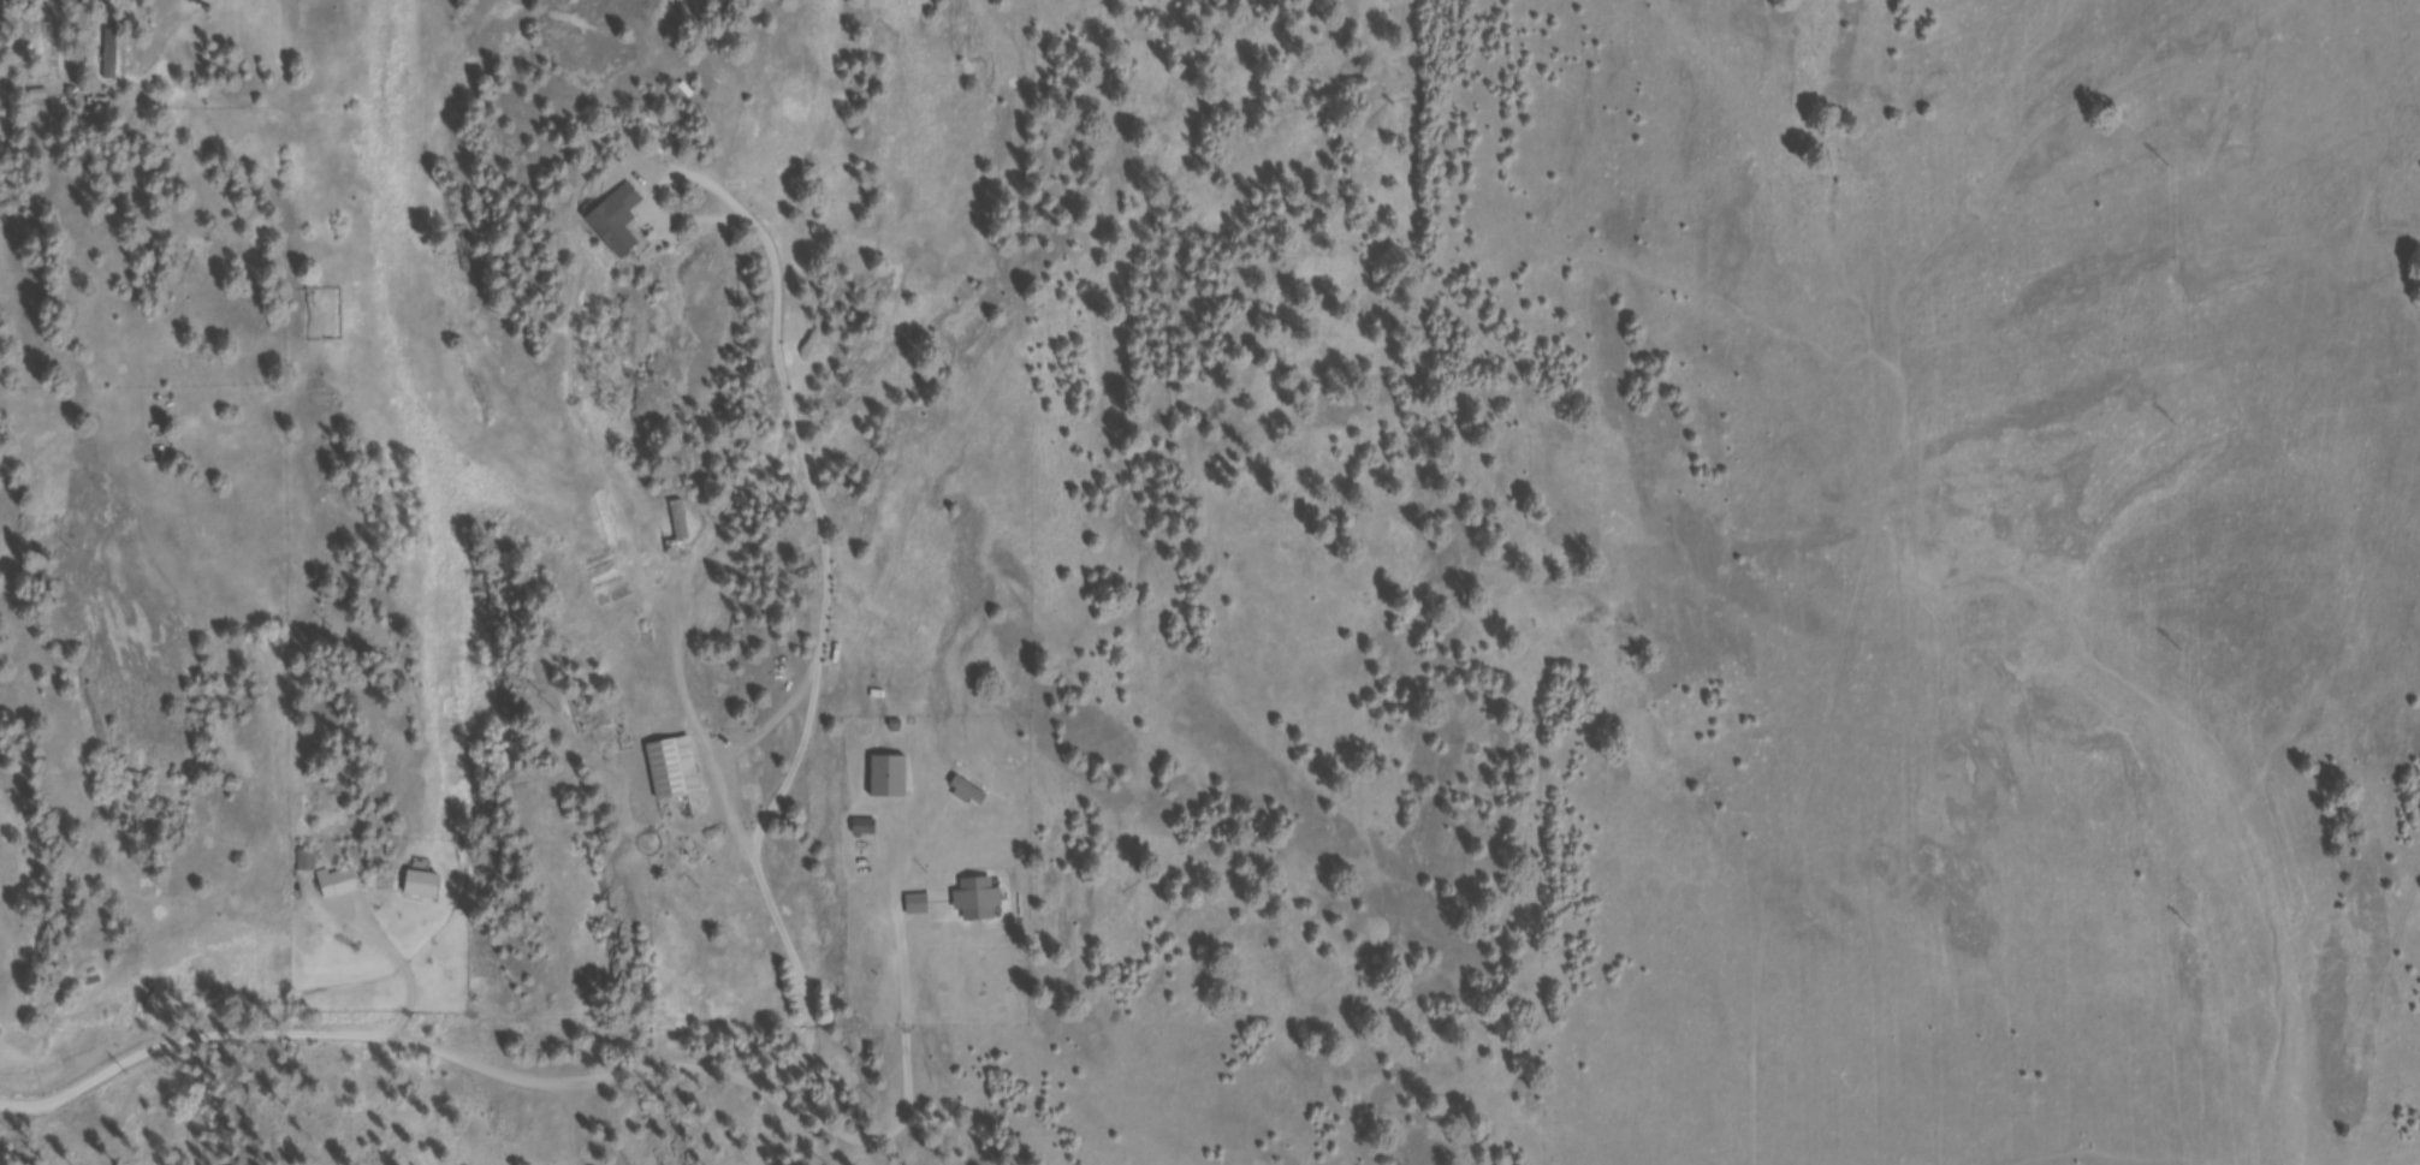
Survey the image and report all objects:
building: (117, 54)
building: (622, 222)
building: (678, 772)
building: (894, 779)
building: (867, 838)
building: (310, 862)
building: (343, 886)
building: (427, 887)
building: (983, 903)
building: (920, 908)
road: (497, 1072)

